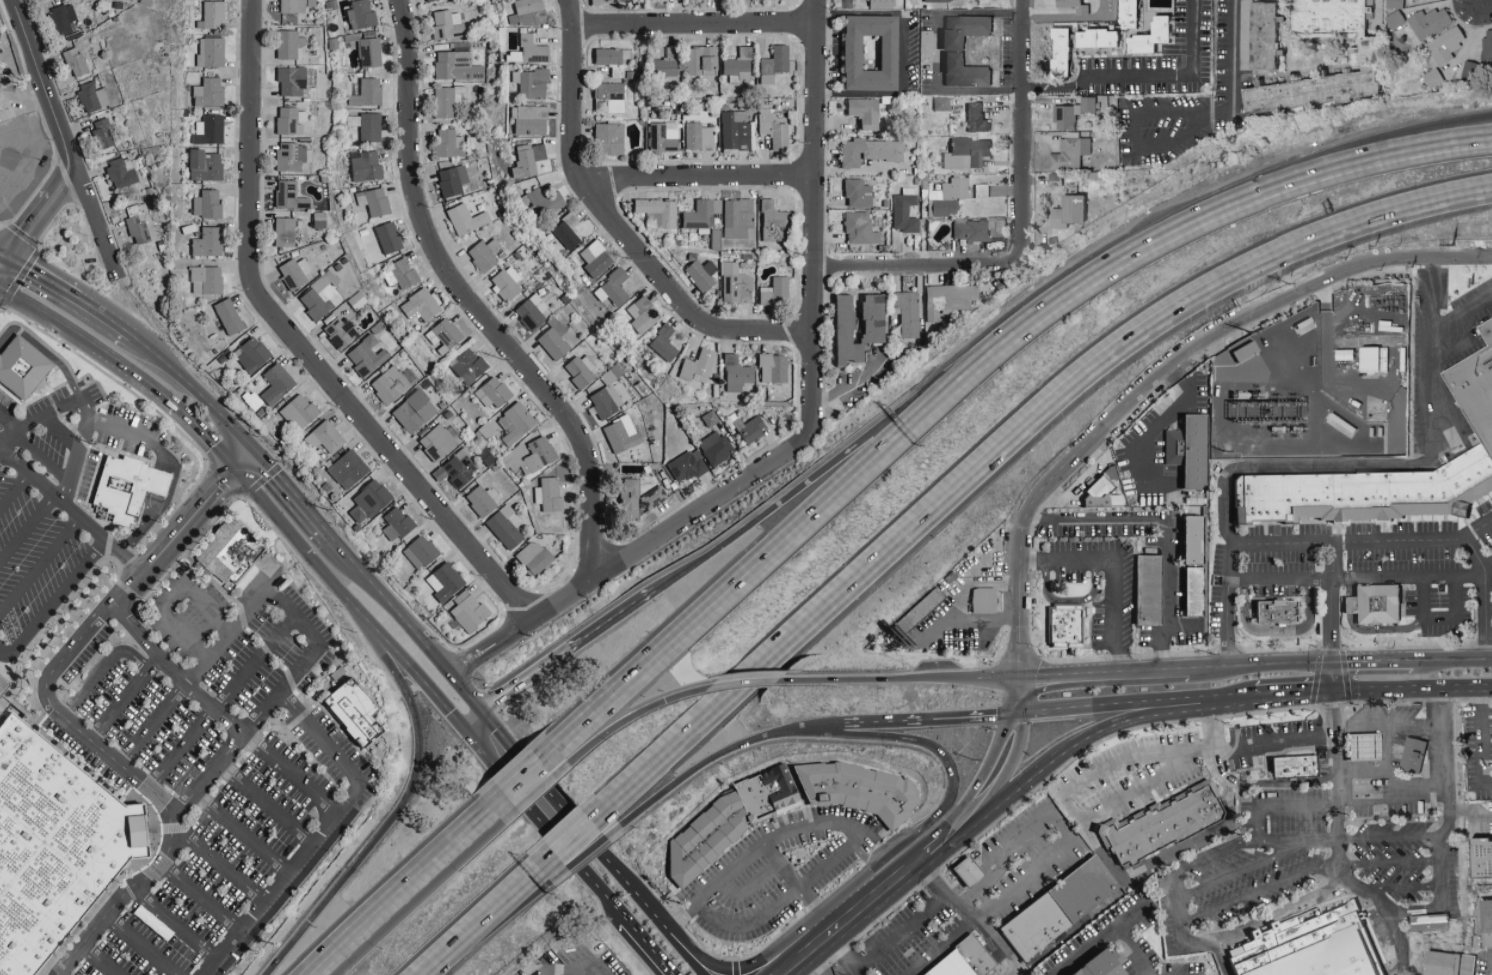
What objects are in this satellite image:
building: (431, 0)
building: (936, 0)
road: (1417, 0)
building: (604, 1)
building: (869, 1)
building: (311, 3)
building: (293, 6)
building: (1072, 6)
building: (527, 13)
building: (361, 14)
building: (1125, 14)
building: (212, 15)
building: (63, 18)
building: (1394, 20)
building: (1428, 23)
building: (446, 24)
road: (693, 25)
building: (961, 31)
building: (0, 33)
building: (1256, 35)
building: (1147, 38)
building: (1093, 39)
building: (289, 44)
building: (1443, 46)
building: (533, 49)
building: (1486, 49)
road: (936, 51)
building: (212, 52)
building: (369, 53)
building: (850, 53)
building: (869, 53)
road: (902, 53)
building: (1057, 53)
building: (1364, 54)
building: (611, 60)
building: (703, 61)
building: (75, 62)
building: (666, 64)
building: (775, 64)
building: (740, 66)
building: (456, 67)
road: (1232, 69)
building: (1466, 71)
building: (961, 72)
road: (1141, 73)
building: (1431, 78)
building: (293, 81)
building: (531, 84)
building: (6, 90)
building: (366, 92)
building: (209, 93)
building: (609, 97)
building: (92, 98)
building: (448, 100)
building: (862, 110)
building: (1071, 113)
building: (974, 118)
building: (530, 120)
building: (291, 121)
building: (371, 127)
building: (210, 130)
building: (773, 130)
building: (103, 133)
building: (735, 133)
road: (25, 134)
road: (63, 137)
building: (663, 137)
building: (699, 137)
road: (1133, 137)
building: (611, 138)
road: (1395, 140)
building: (450, 144)
building: (866, 151)
road: (1396, 152)
building: (965, 153)
building: (1068, 154)
building: (293, 157)
building: (528, 158)
building: (206, 166)
building: (367, 166)
building: (121, 175)
road: (696, 179)
building: (453, 181)
building: (979, 191)
building: (856, 193)
building: (286, 194)
building: (945, 197)
building: (374, 201)
building: (545, 202)
building: (304, 203)
road: (47, 205)
building: (208, 205)
building: (902, 211)
building: (1065, 212)
building: (658, 213)
building: (701, 214)
road: (814, 218)
building: (320, 220)
building: (466, 220)
building: (774, 222)
road: (614, 228)
building: (137, 229)
building: (857, 229)
building: (567, 231)
building: (285, 232)
building: (980, 232)
road: (9, 238)
building: (388, 238)
road: (1022, 238)
building: (209, 242)
road: (1144, 247)
road: (11, 248)
road: (2, 252)
traffic signals: (5, 254)
building: (484, 255)
road: (2, 257)
building: (596, 259)
road: (43, 272)
building: (293, 275)
building: (400, 275)
building: (702, 276)
building: (207, 280)
building: (507, 283)
building: (735, 285)
building: (613, 288)
building: (776, 292)
building: (317, 298)
building: (944, 298)
road: (468, 299)
building: (356, 300)
building: (418, 307)
building: (532, 312)
building: (903, 312)
road: (105, 313)
road: (1462, 314)
building: (643, 315)
building: (229, 317)
building: (866, 317)
road: (44, 319)
building: (341, 332)
building: (443, 336)
building: (555, 339)
road: (1229, 339)
road: (297, 343)
building: (664, 344)
road: (1454, 347)
road: (45, 350)
building: (1241, 350)
building: (1341, 354)
building: (252, 355)
building: (366, 356)
building: (1367, 358)
building: (468, 366)
building: (22, 367)
building: (699, 367)
building: (773, 368)
road: (1433, 368)
road: (121, 370)
building: (581, 371)
building: (737, 374)
power substation: (1317, 383)
building: (277, 384)
building: (389, 385)
road: (853, 385)
road: (196, 390)
building: (494, 393)
building: (608, 394)
building: (1477, 410)
building: (414, 411)
building: (299, 412)
road: (84, 413)
building: (516, 423)
building: (752, 430)
road: (197, 431)
road: (1149, 432)
road: (60, 434)
building: (622, 435)
building: (324, 437)
road: (9, 439)
road: (1011, 439)
building: (438, 442)
building: (713, 447)
building: (1184, 448)
road: (32, 452)
traffic signals: (257, 452)
building: (530, 456)
road: (74, 461)
road: (245, 463)
road: (826, 464)
building: (686, 467)
road: (1245, 467)
building: (459, 468)
building: (348, 470)
traffic signals: (234, 475)
road: (1086, 487)
building: (123, 488)
road: (14, 491)
building: (1097, 491)
road: (294, 494)
building: (548, 495)
building: (629, 497)
building: (654, 497)
building: (482, 500)
building: (370, 501)
road: (154, 502)
road: (71, 512)
road: (1034, 517)
road: (1165, 523)
building: (397, 524)
building: (506, 527)
road: (26, 528)
road: (1364, 540)
building: (1190, 541)
road: (775, 545)
building: (421, 553)
road: (629, 553)
road: (1475, 554)
building: (225, 556)
building: (534, 556)
road: (1035, 561)
road: (39, 566)
road: (1115, 568)
road: (997, 580)
road: (1361, 581)
building: (445, 582)
road: (968, 588)
building: (1145, 591)
building: (1192, 593)
road: (56, 599)
road: (172, 599)
road: (347, 600)
building: (980, 600)
road: (1022, 600)
road: (390, 603)
building: (1373, 604)
building: (915, 609)
building: (468, 611)
building: (1277, 611)
road: (620, 612)
road: (294, 614)
road: (1486, 614)
road: (1333, 616)
road: (963, 620)
road: (1441, 622)
building: (1063, 626)
road: (1184, 626)
road: (1276, 630)
road: (1227, 652)
road: (3, 654)
road: (1163, 657)
road: (1120, 658)
road: (1452, 660)
road: (1374, 662)
traffic signals: (1334, 663)
road: (1262, 664)
road: (101, 668)
road: (174, 671)
road: (532, 673)
road: (1106, 673)
traffic signals: (1021, 678)
road: (899, 680)
building: (0, 681)
road: (743, 683)
road: (464, 690)
road: (1413, 690)
traffic signals: (1335, 691)
road: (1296, 693)
road: (1234, 696)
road: (1480, 698)
road: (126, 699)
road: (221, 700)
road: (1107, 705)
building: (4, 706)
road: (1370, 708)
traffic signals: (480, 710)
traffic signals: (1026, 713)
building: (353, 714)
traffic signals: (1004, 714)
road: (472, 716)
road: (635, 716)
road: (955, 717)
traffic signals: (464, 722)
road: (874, 722)
road: (1390, 724)
road: (73, 725)
road: (814, 726)
road: (910, 742)
road: (1074, 742)
building: (1362, 747)
road: (1481, 747)
road: (1194, 750)
road: (991, 752)
building: (1414, 756)
road: (1014, 761)
road: (1387, 763)
building: (1292, 767)
road: (698, 769)
road: (290, 774)
road: (523, 779)
road: (1284, 782)
road: (1487, 786)
building: (856, 789)
road: (535, 792)
road: (526, 796)
road: (1125, 798)
road: (1352, 802)
road: (265, 804)
building: (785, 807)
road: (396, 812)
road: (1470, 814)
building: (724, 821)
road: (815, 823)
road: (1259, 823)
building: (1157, 824)
road: (583, 832)
road: (241, 833)
road: (321, 833)
road: (950, 833)
road: (1390, 837)
road: (574, 839)
road: (1200, 839)
road: (1300, 840)
building: (51, 843)
road: (1071, 844)
road: (929, 851)
road: (1217, 852)
road: (587, 855)
building: (1478, 857)
road: (219, 864)
road: (1390, 864)
road: (1242, 869)
road: (437, 870)
building: (961, 870)
road: (715, 885)
road: (750, 885)
road: (799, 887)
road: (1405, 889)
road: (1260, 890)
road: (402, 892)
road: (609, 894)
road: (201, 897)
road: (782, 899)
building: (1057, 906)
road: (1179, 907)
road: (861, 909)
road: (1402, 915)
road: (1270, 917)
road: (484, 921)
road: (968, 923)
building: (1484, 923)
road: (174, 925)
road: (489, 929)
road: (899, 932)
road: (1098, 938)
road: (140, 945)
road: (1396, 945)
road: (653, 946)
building: (1303, 946)
road: (1129, 950)
road: (844, 954)
building: (970, 954)
road: (1221, 957)
road: (100, 960)
road: (824, 962)
building: (1446, 963)
road: (570, 964)
road: (695, 965)
road: (745, 965)
road: (794, 965)
building: (1090, 965)
building: (946, 966)

